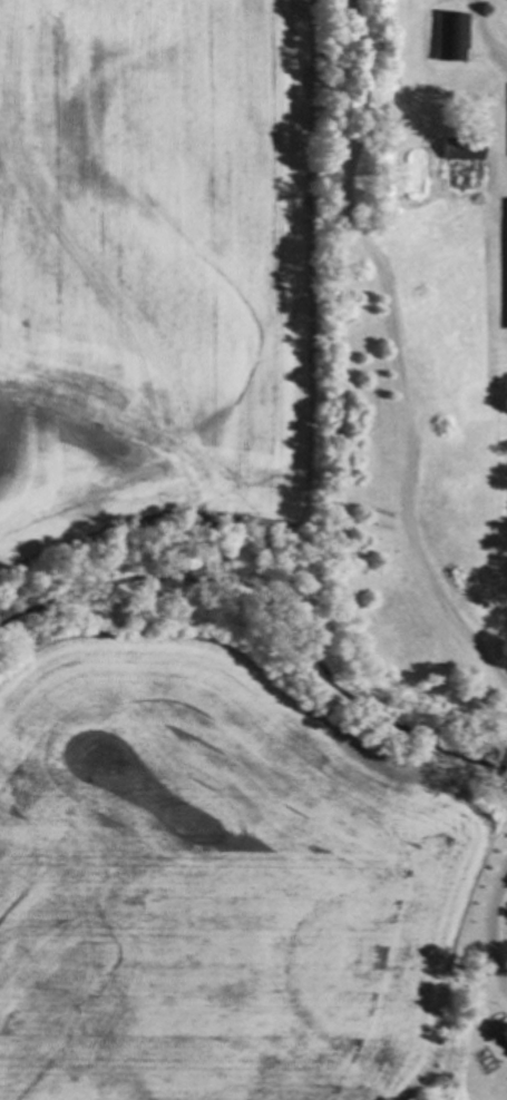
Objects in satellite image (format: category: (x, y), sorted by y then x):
building: (455, 33)
road: (484, 35)
building: (460, 150)
road: (396, 345)
road: (494, 931)
building: (500, 1033)

